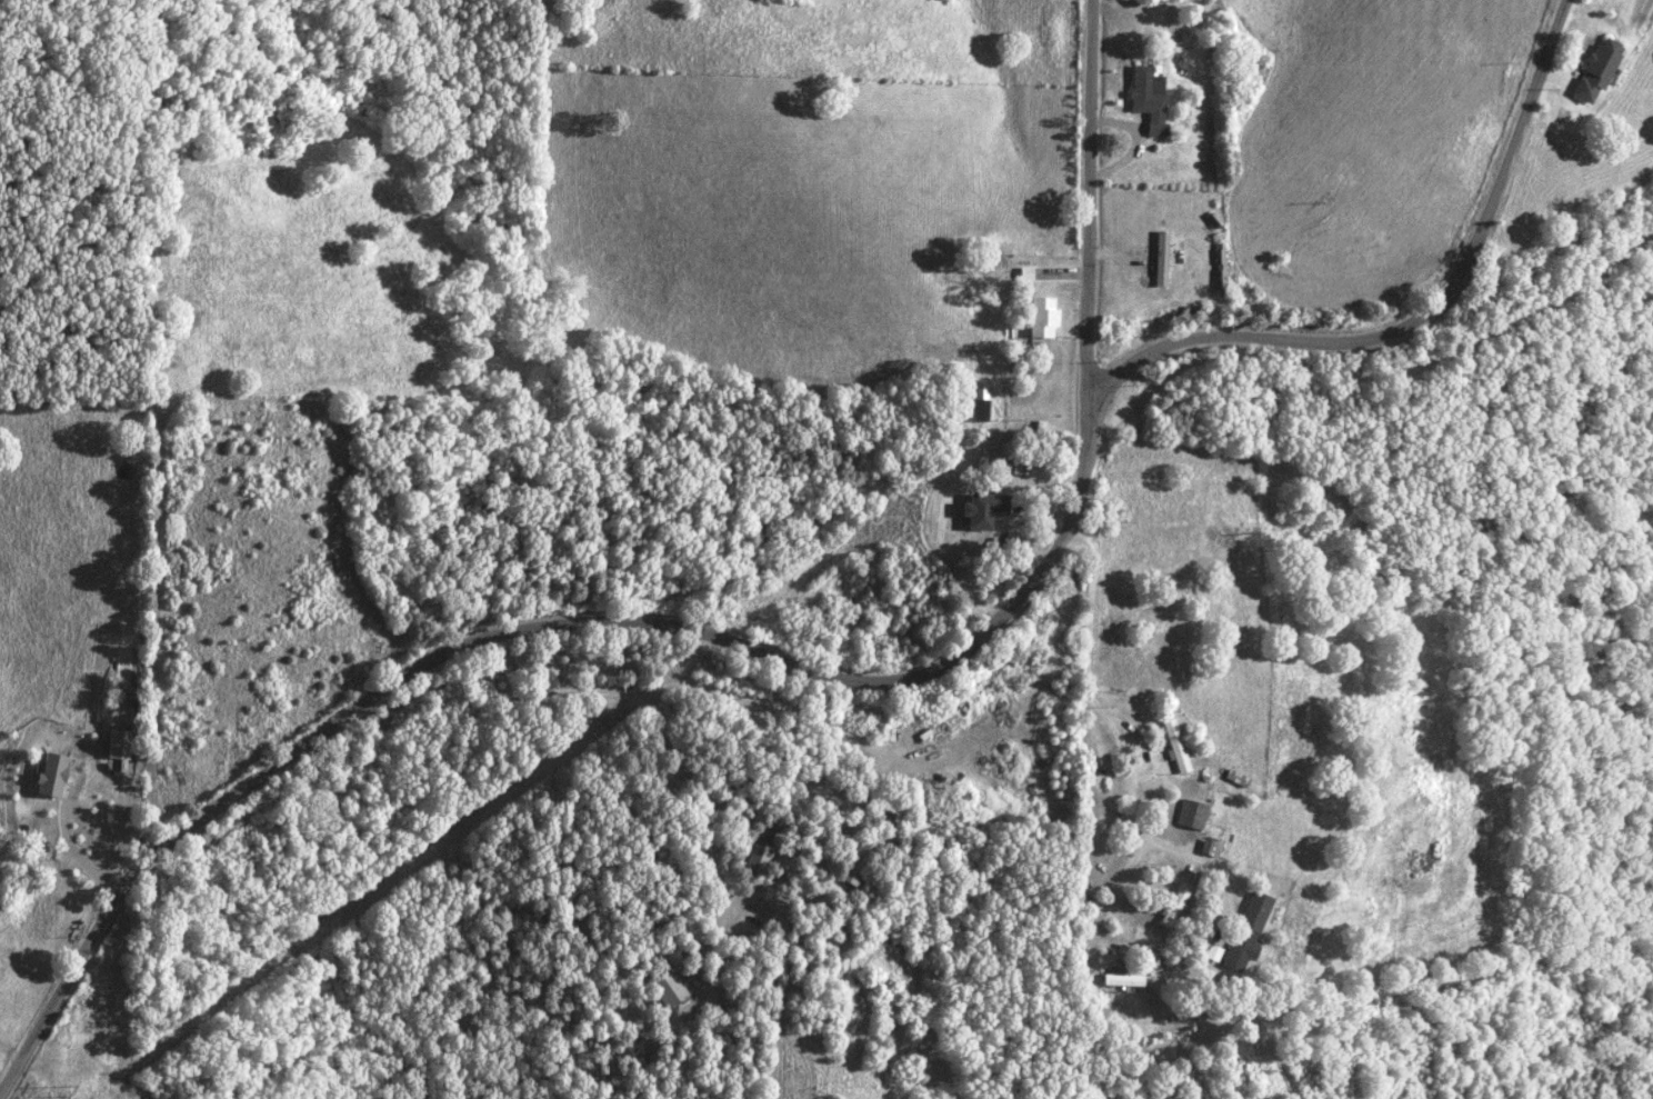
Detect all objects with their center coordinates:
building: (1592, 70)
building: (1145, 99)
road: (1089, 227)
building: (1158, 258)
building: (1022, 273)
building: (1039, 317)
road: (1411, 323)
road: (1372, 373)
building: (978, 402)
building: (980, 508)
road: (511, 632)
road: (1115, 738)
building: (116, 743)
building: (1172, 745)
building: (48, 772)
building: (1190, 812)
building: (753, 853)
road: (76, 855)
building: (855, 856)
building: (1172, 903)
building: (1245, 930)
building: (1121, 978)
building: (663, 983)
power tower: (63, 1095)

